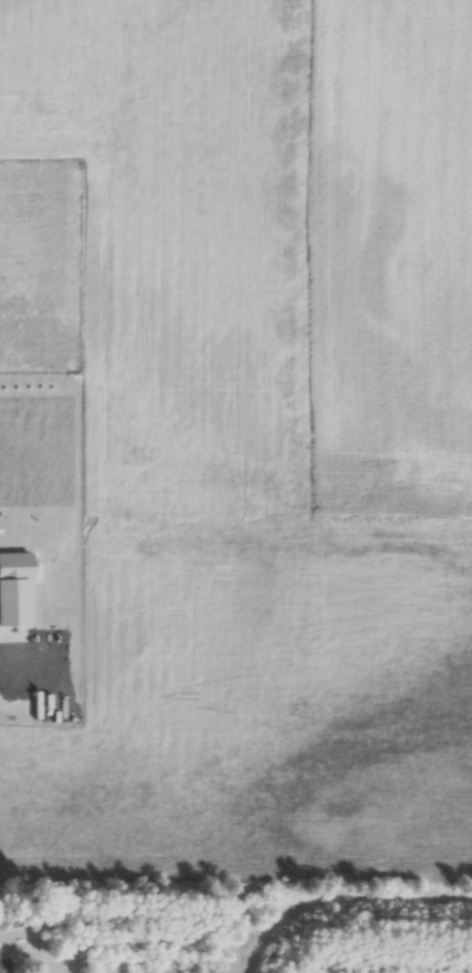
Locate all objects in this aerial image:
road: (18, 655)
building: (2, 965)

